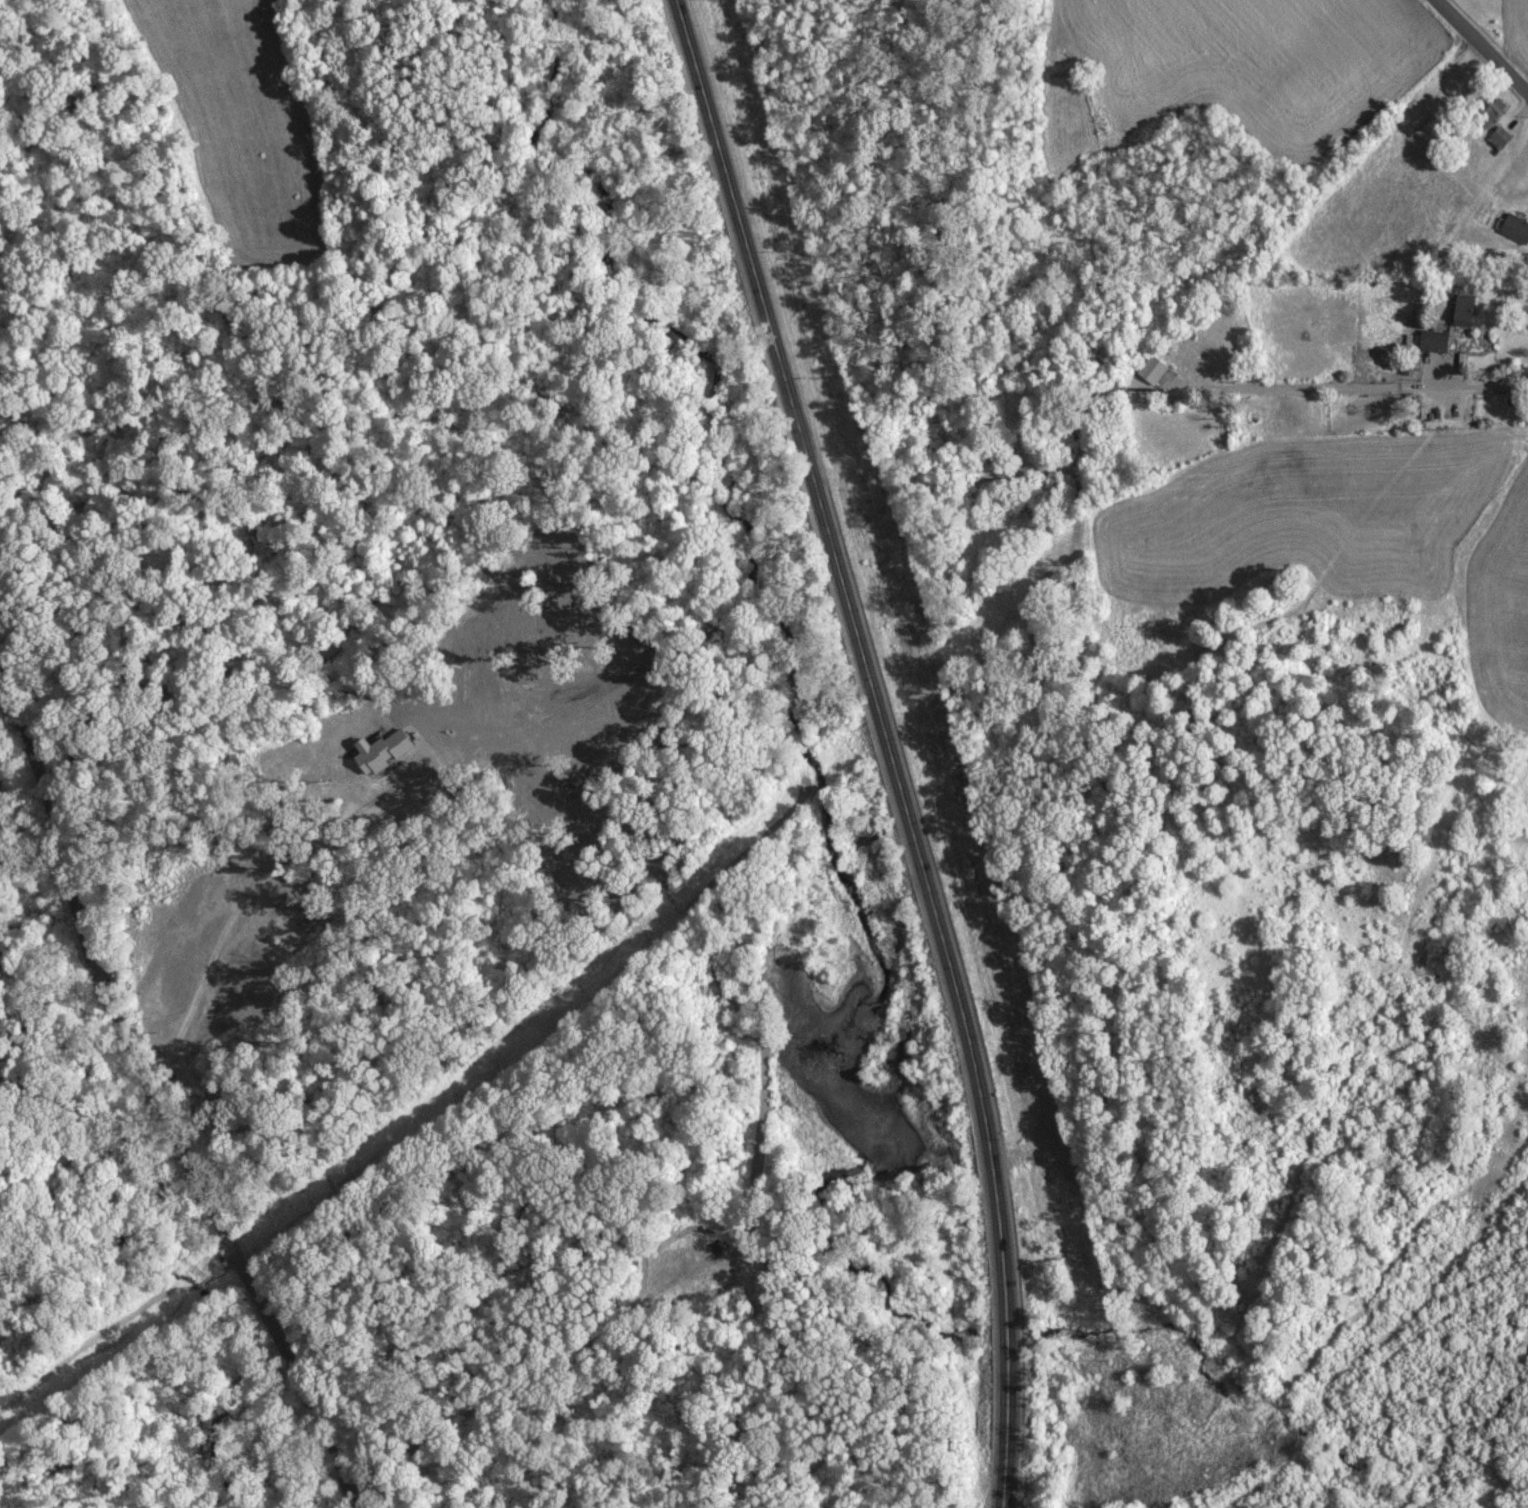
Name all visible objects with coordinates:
road: (1486, 40)
building: (1493, 106)
building: (1500, 137)
building: (1516, 227)
building: (1465, 309)
building: (1435, 340)
building: (1153, 368)
road: (1349, 387)
road: (894, 745)
building: (382, 751)
road: (162, 1098)

